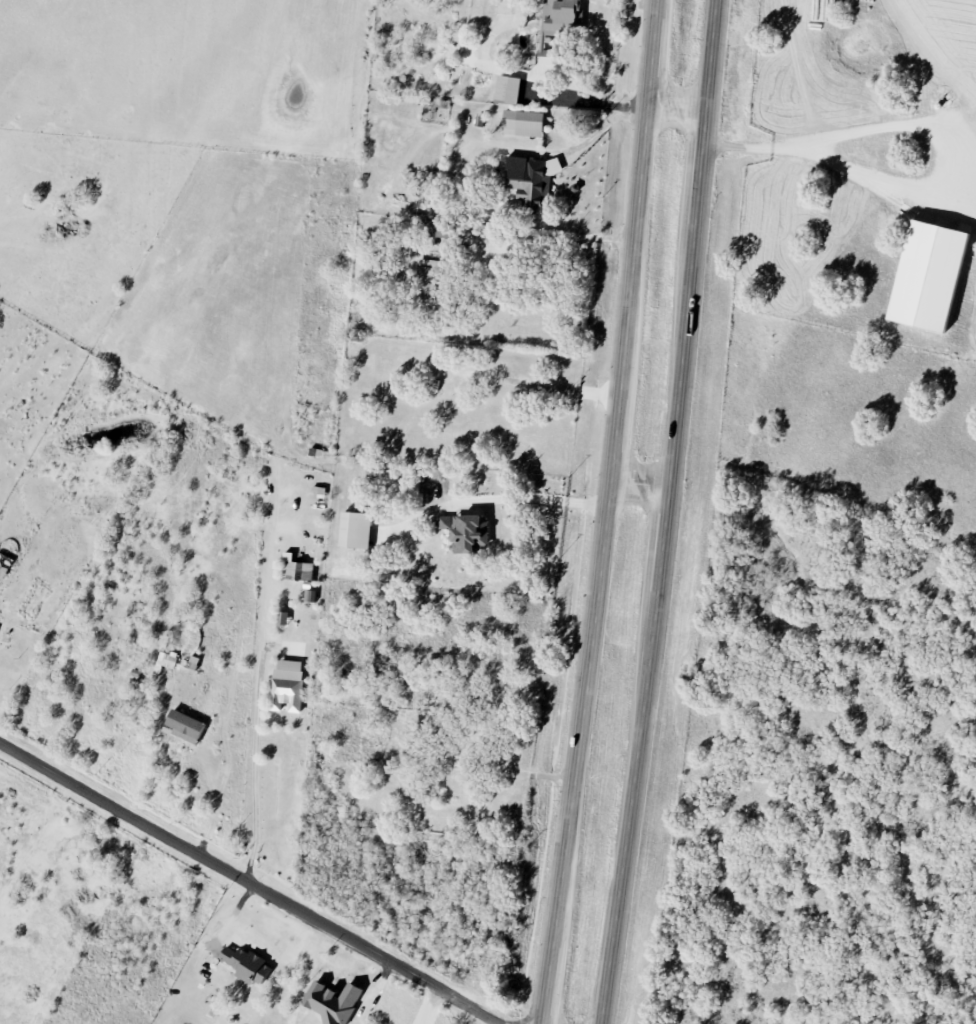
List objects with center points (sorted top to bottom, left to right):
building: (562, 16)
building: (546, 57)
building: (507, 90)
road: (678, 107)
building: (523, 124)
building: (531, 182)
building: (436, 229)
road: (558, 231)
building: (927, 277)
building: (425, 281)
road: (641, 483)
road: (497, 498)
road: (668, 512)
road: (608, 513)
building: (355, 529)
building: (466, 531)
building: (5, 565)
building: (296, 566)
building: (310, 595)
building: (283, 617)
building: (167, 659)
building: (287, 685)
road: (260, 700)
building: (185, 725)
road: (217, 802)
road: (253, 882)
building: (246, 964)
building: (333, 1001)

